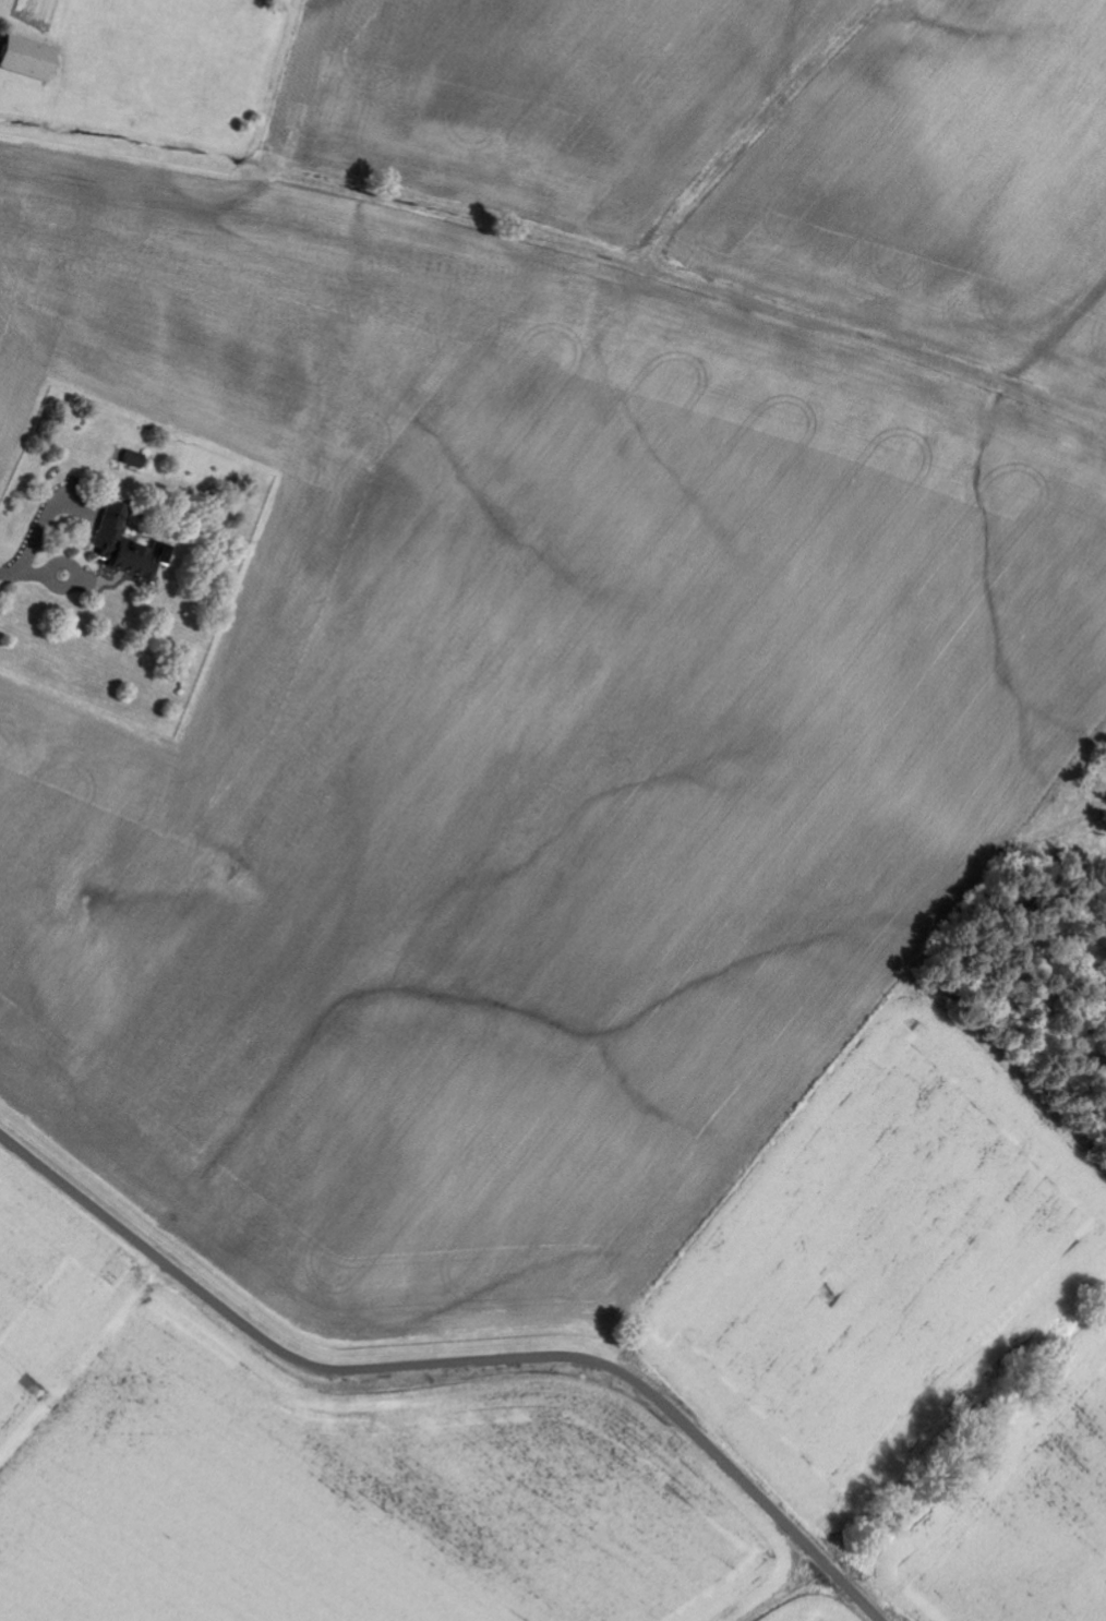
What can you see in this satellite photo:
building: (26, 59)
road: (38, 529)
building: (115, 541)
road: (453, 1364)

